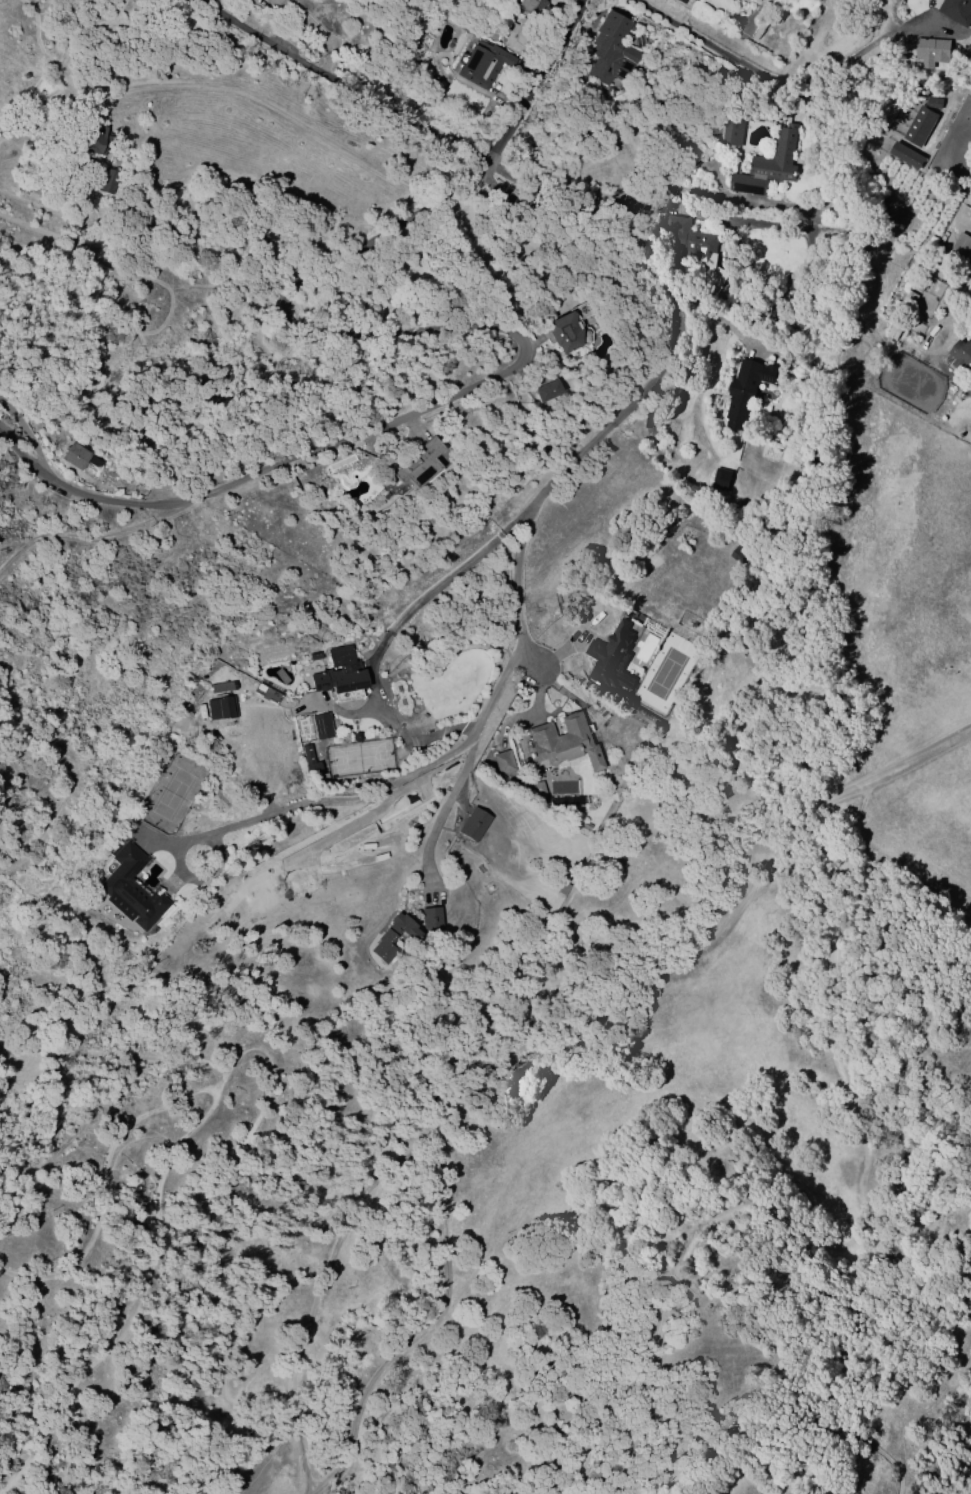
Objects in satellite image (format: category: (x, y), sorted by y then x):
building: (530, 5)
building: (957, 9)
building: (490, 31)
building: (519, 34)
building: (611, 50)
building: (931, 52)
building: (484, 63)
road: (349, 80)
road: (780, 81)
road: (273, 106)
building: (919, 126)
building: (732, 132)
building: (97, 140)
building: (905, 155)
building: (768, 166)
building: (109, 181)
road: (606, 187)
building: (896, 220)
building: (693, 246)
building: (960, 247)
building: (893, 331)
building: (564, 332)
road: (503, 334)
building: (962, 356)
building: (545, 387)
building: (745, 391)
road: (23, 431)
building: (78, 457)
building: (420, 463)
building: (721, 480)
road: (545, 491)
building: (741, 555)
road: (388, 630)
building: (611, 658)
building: (340, 673)
building: (221, 687)
building: (221, 707)
building: (322, 725)
building: (563, 743)
building: (310, 761)
building: (503, 762)
building: (538, 790)
road: (441, 814)
building: (474, 824)
road: (217, 834)
building: (131, 888)
building: (563, 889)
building: (431, 920)
building: (393, 937)

